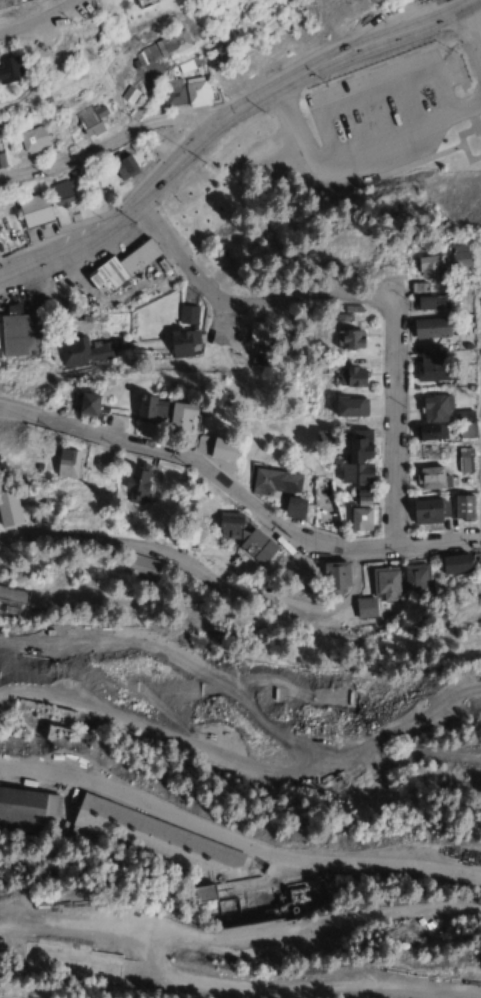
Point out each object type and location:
building: (145, 0)
road: (35, 19)
road: (472, 40)
building: (161, 49)
building: (188, 65)
building: (10, 69)
building: (196, 92)
building: (172, 93)
building: (128, 95)
parking lot: (384, 112)
building: (90, 120)
road: (225, 122)
building: (31, 139)
road: (113, 140)
road: (362, 149)
building: (1, 161)
building: (123, 167)
building: (60, 194)
building: (33, 210)
building: (459, 257)
building: (429, 267)
building: (121, 268)
road: (364, 297)
building: (426, 300)
building: (188, 314)
building: (429, 328)
building: (19, 335)
building: (348, 340)
building: (179, 344)
building: (81, 352)
building: (432, 367)
building: (350, 378)
building: (86, 405)
building: (350, 407)
building: (150, 408)
building: (435, 409)
building: (181, 419)
building: (466, 430)
building: (430, 433)
building: (222, 450)
building: (430, 452)
building: (357, 460)
building: (464, 461)
building: (67, 464)
building: (431, 479)
building: (135, 484)
building: (280, 489)
road: (239, 492)
building: (462, 509)
building: (429, 511)
building: (360, 519)
building: (244, 537)
building: (455, 565)
building: (142, 566)
building: (335, 576)
building: (416, 578)
building: (13, 596)
building: (377, 597)
building: (58, 726)
road: (243, 760)
building: (26, 808)
building: (157, 838)
road: (237, 838)
building: (201, 893)
building: (285, 899)
road: (238, 938)
building: (70, 961)
road: (300, 983)

